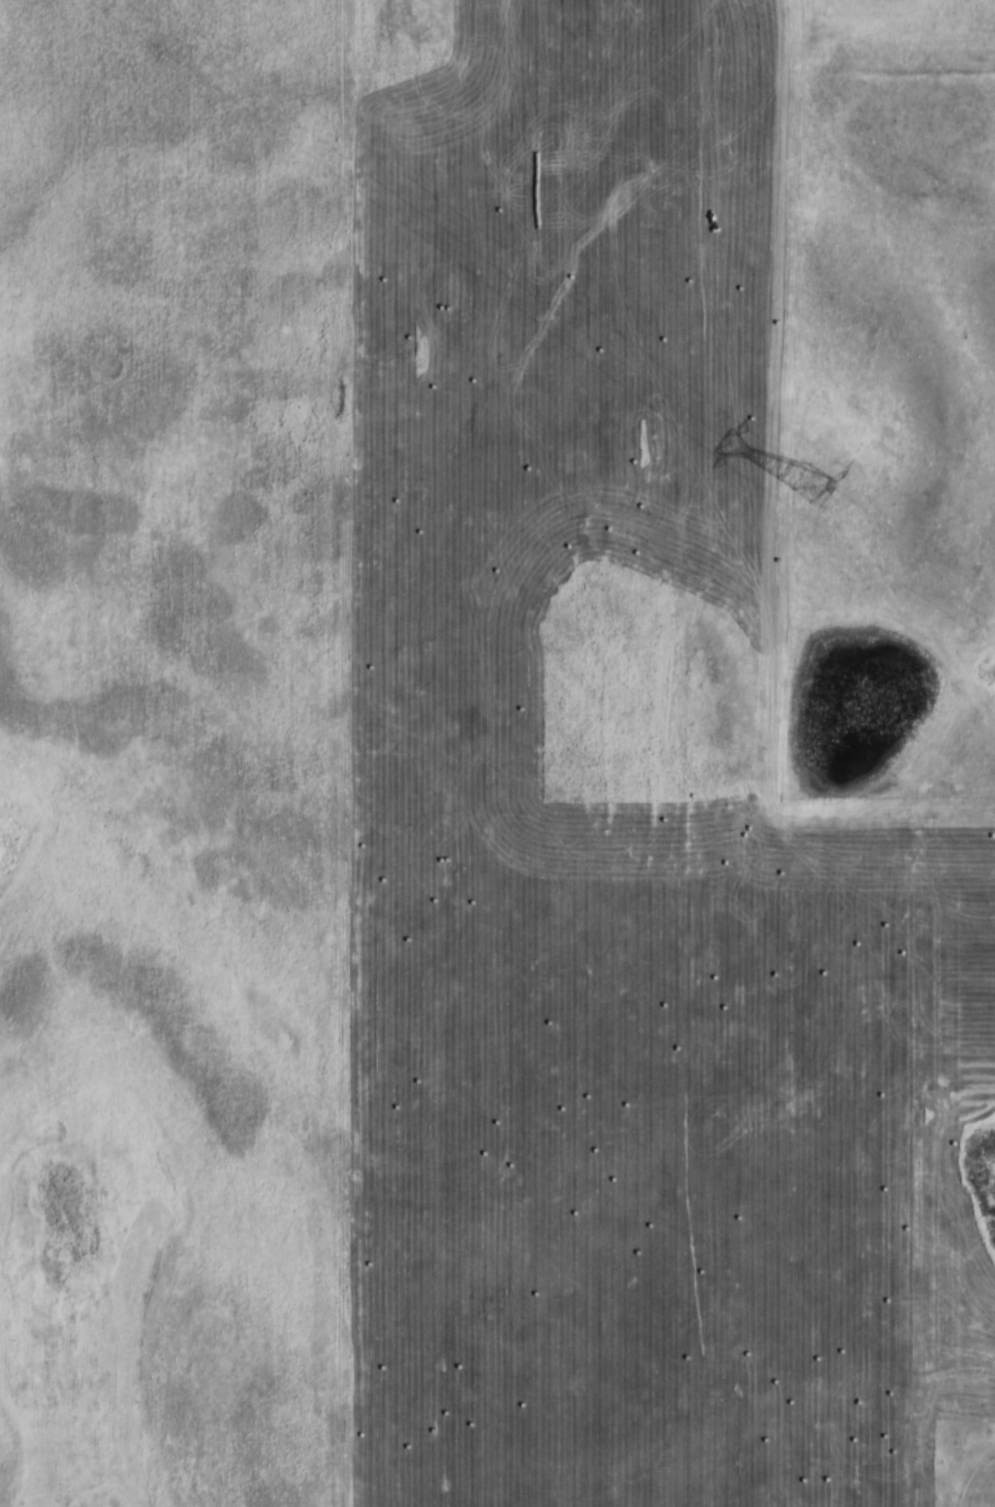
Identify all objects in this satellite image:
power tower: (808, 485)

